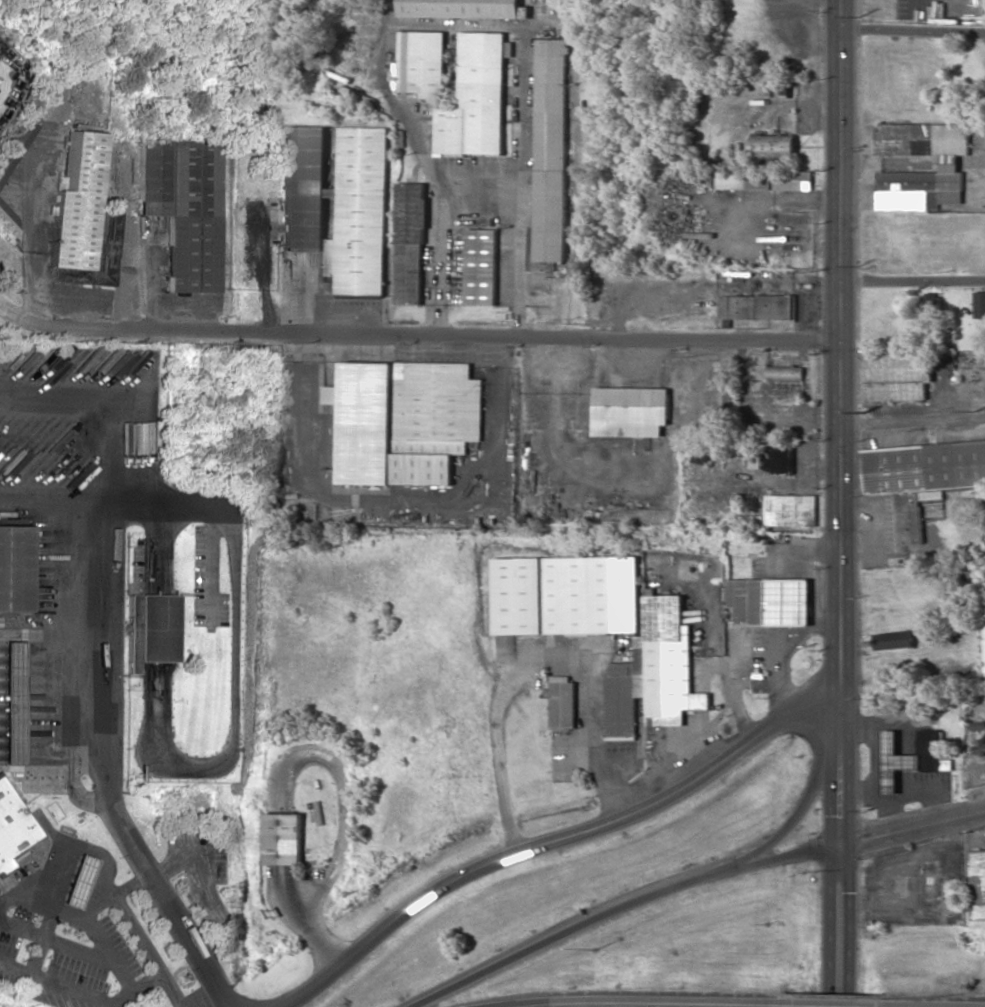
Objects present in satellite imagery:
building: (458, 8)
road: (914, 32)
building: (421, 62)
building: (475, 99)
building: (14, 145)
building: (773, 147)
building: (549, 150)
building: (948, 163)
building: (765, 180)
building: (337, 205)
building: (182, 207)
building: (83, 219)
building: (7, 221)
building: (410, 243)
building: (480, 267)
road: (917, 281)
road: (25, 289)
building: (979, 305)
building: (931, 306)
building: (756, 307)
road: (22, 319)
road: (447, 333)
building: (785, 374)
building: (894, 375)
road: (108, 409)
building: (630, 411)
building: (404, 421)
road: (847, 424)
road: (916, 428)
building: (920, 477)
road: (49, 501)
building: (790, 510)
building: (16, 568)
building: (566, 595)
building: (770, 602)
building: (983, 628)
building: (146, 629)
building: (893, 640)
building: (654, 673)
building: (563, 702)
building: (12, 704)
building: (911, 756)
road: (98, 774)
building: (12, 828)
road: (913, 832)
building: (284, 839)
road: (556, 841)
road: (340, 842)
traffic signals: (842, 850)
road: (782, 860)
building: (69, 881)
building: (977, 884)
road: (648, 899)
road: (840, 928)
road: (631, 1000)
road: (859, 1004)
road: (973, 1006)

